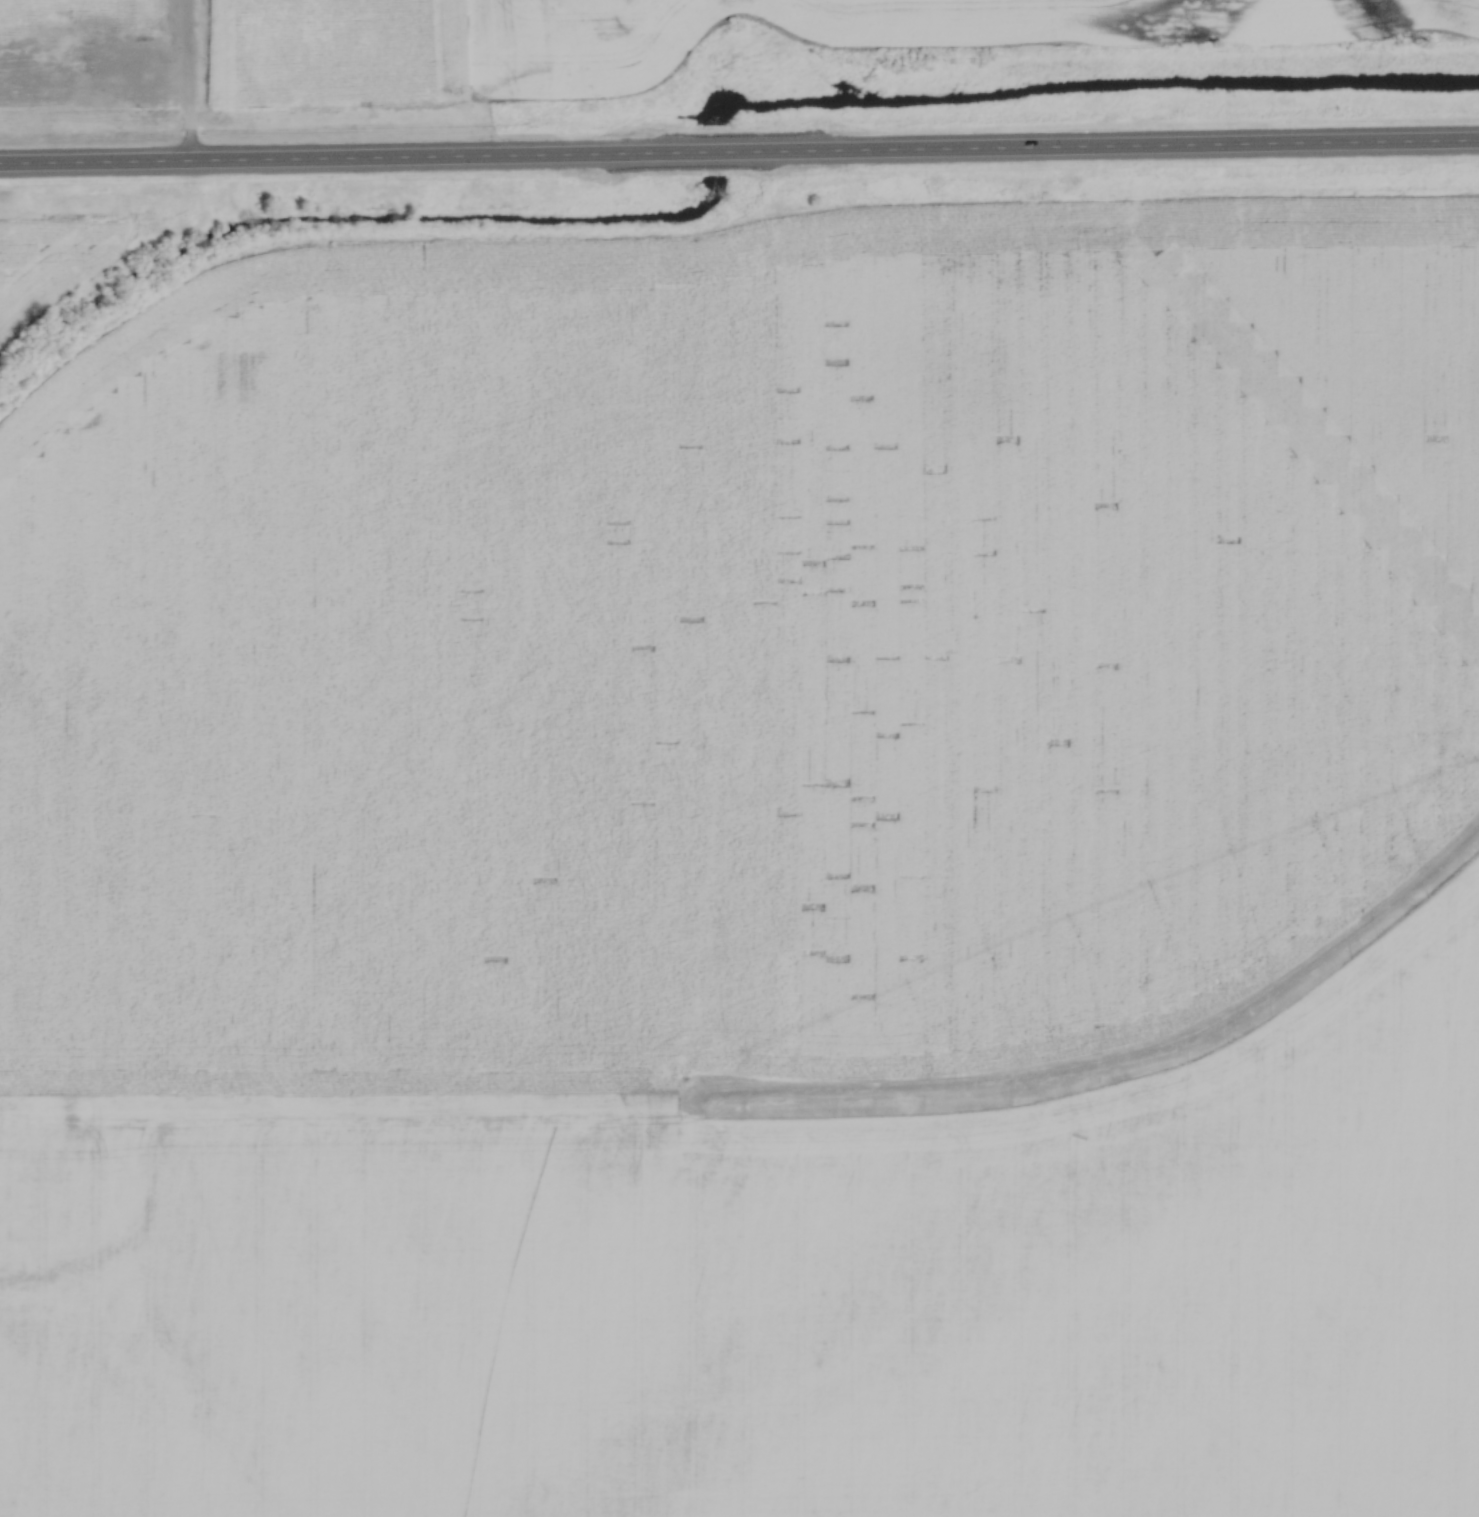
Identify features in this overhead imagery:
road: (185, 94)
road: (739, 154)

